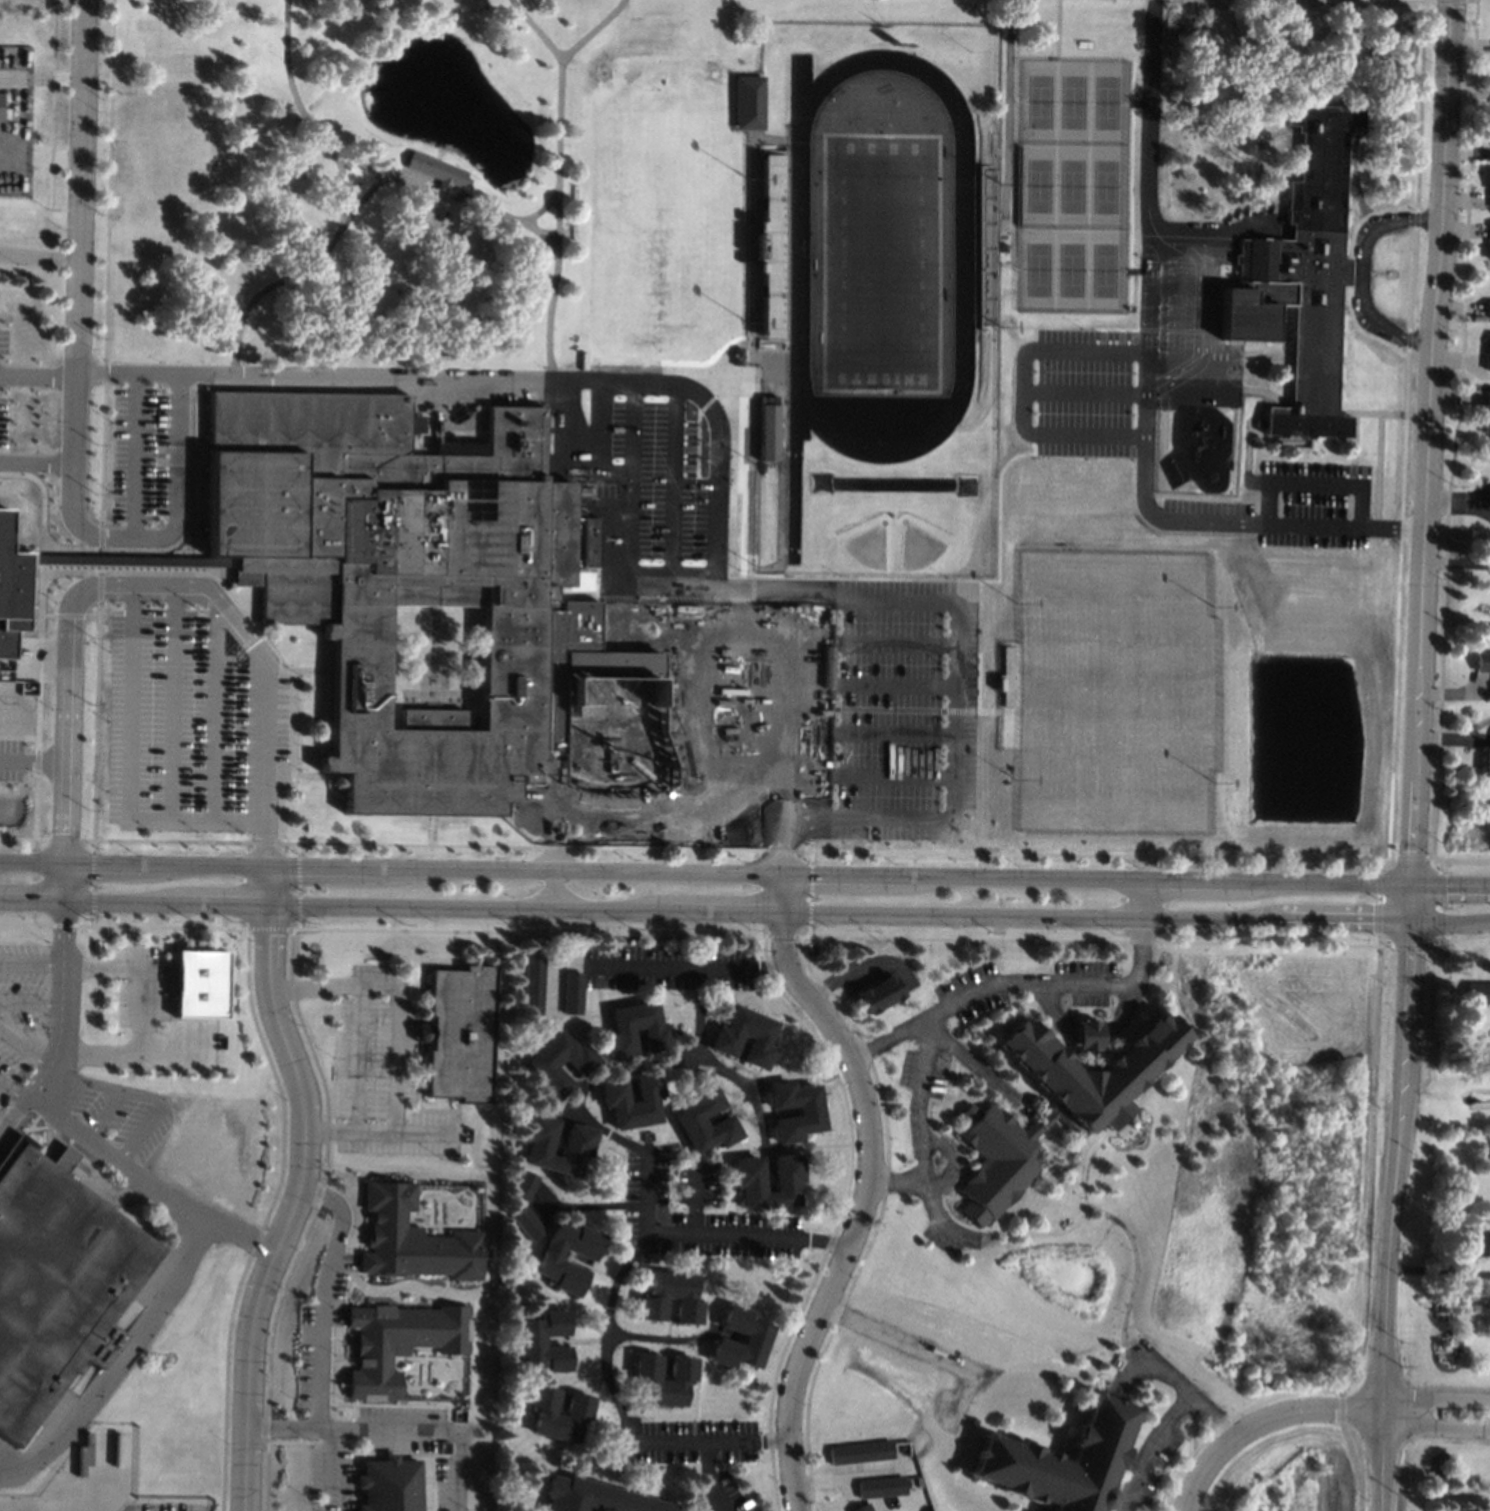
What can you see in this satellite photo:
road: (592, 30)
road: (41, 80)
road: (1253, 91)
building: (748, 102)
road: (52, 103)
building: (0, 107)
road: (1448, 109)
road: (1151, 131)
road: (1418, 145)
road: (56, 158)
building: (436, 170)
road: (1258, 175)
parking lot: (14, 176)
road: (1356, 179)
park: (343, 183)
road: (559, 183)
park: (1072, 184)
road: (447, 194)
road: (360, 203)
road: (341, 204)
road: (541, 208)
road: (1431, 218)
park: (660, 220)
building: (1489, 237)
building: (773, 246)
building: (1005, 248)
road: (40, 256)
track: (798, 256)
park: (881, 263)
building: (1309, 271)
flagpole: (1374, 272)
road: (80, 277)
road: (1358, 282)
building: (1488, 309)
parking lot: (1188, 313)
park: (31, 327)
road: (1408, 328)
building: (1487, 355)
road: (38, 374)
parking lot: (3, 383)
road: (1217, 389)
road: (1265, 393)
building: (1486, 415)
building: (414, 423)
road: (1353, 425)
building: (766, 429)
road: (103, 432)
road: (1231, 435)
parking lot: (152, 454)
road: (133, 457)
road: (36, 463)
road: (1250, 470)
park: (915, 474)
road: (181, 491)
road: (1458, 498)
parking lot: (1313, 505)
road: (717, 508)
road: (1266, 510)
road: (190, 528)
road: (194, 549)
road: (128, 560)
parking lot: (642, 566)
road: (1424, 569)
building: (398, 575)
road: (41, 587)
building: (9, 591)
road: (66, 613)
road: (265, 636)
building: (1482, 661)
road: (265, 667)
road: (313, 671)
road: (173, 703)
road: (214, 709)
parking lot: (190, 727)
road: (67, 734)
road: (19, 736)
road: (33, 759)
parking lot: (11, 761)
building: (1489, 761)
road: (128, 772)
road: (319, 776)
road: (36, 799)
road: (432, 829)
road: (721, 848)
road: (1466, 860)
road: (277, 871)
road: (1023, 882)
traffic signals: (1415, 890)
road: (803, 892)
road: (556, 893)
road: (1443, 904)
road: (706, 914)
road: (1451, 918)
traffic signals: (1414, 922)
road: (1090, 941)
road: (1411, 946)
road: (32, 961)
road: (648, 965)
road: (1378, 967)
building: (533, 982)
building: (200, 983)
road: (987, 986)
road: (596, 990)
road: (317, 991)
building: (573, 993)
building: (878, 993)
building: (1477, 993)
road: (274, 1003)
road: (138, 1004)
road: (31, 1007)
parking lot: (24, 1013)
road: (601, 1017)
road: (1125, 1018)
road: (63, 1027)
building: (654, 1031)
building: (461, 1033)
building: (727, 1036)
road: (25, 1048)
road: (358, 1059)
road: (402, 1061)
road: (972, 1061)
building: (543, 1064)
road: (694, 1066)
road: (622, 1068)
parking lot: (385, 1075)
road: (744, 1086)
road: (13, 1090)
road: (146, 1096)
building: (615, 1101)
building: (1052, 1104)
building: (810, 1112)
parking lot: (121, 1118)
building: (691, 1122)
road: (0, 1132)
road: (330, 1132)
road: (430, 1135)
building: (578, 1147)
road: (919, 1147)
road: (783, 1150)
road: (1051, 1156)
road: (950, 1158)
road: (1063, 1158)
building: (748, 1169)
road: (150, 1180)
road: (896, 1182)
building: (527, 1185)
road: (864, 1189)
road: (648, 1197)
road: (695, 1197)
road: (594, 1209)
road: (1391, 1216)
building: (528, 1225)
road: (1019, 1232)
building: (413, 1239)
road: (756, 1239)
building: (1478, 1243)
building: (551, 1260)
road: (1135, 1276)
building: (56, 1279)
road: (718, 1281)
road: (323, 1296)
building: (653, 1297)
road: (255, 1316)
road: (610, 1333)
building: (755, 1336)
road: (664, 1339)
building: (532, 1341)
building: (400, 1342)
road: (924, 1352)
road: (119, 1357)
road: (1120, 1378)
building: (681, 1379)
road: (696, 1389)
road: (1184, 1394)
road: (1438, 1397)
building: (577, 1414)
road: (1263, 1421)
road: (1437, 1425)
road: (395, 1431)
road: (712, 1442)
road: (1146, 1448)
building: (860, 1452)
parking lot: (9, 1458)
building: (1060, 1461)
road: (332, 1470)
parking lot: (334, 1477)
road: (710, 1479)
road: (844, 1479)
building: (389, 1484)
building: (880, 1487)
building: (596, 1497)
parking lot: (160, 1506)
building: (862, 1508)

